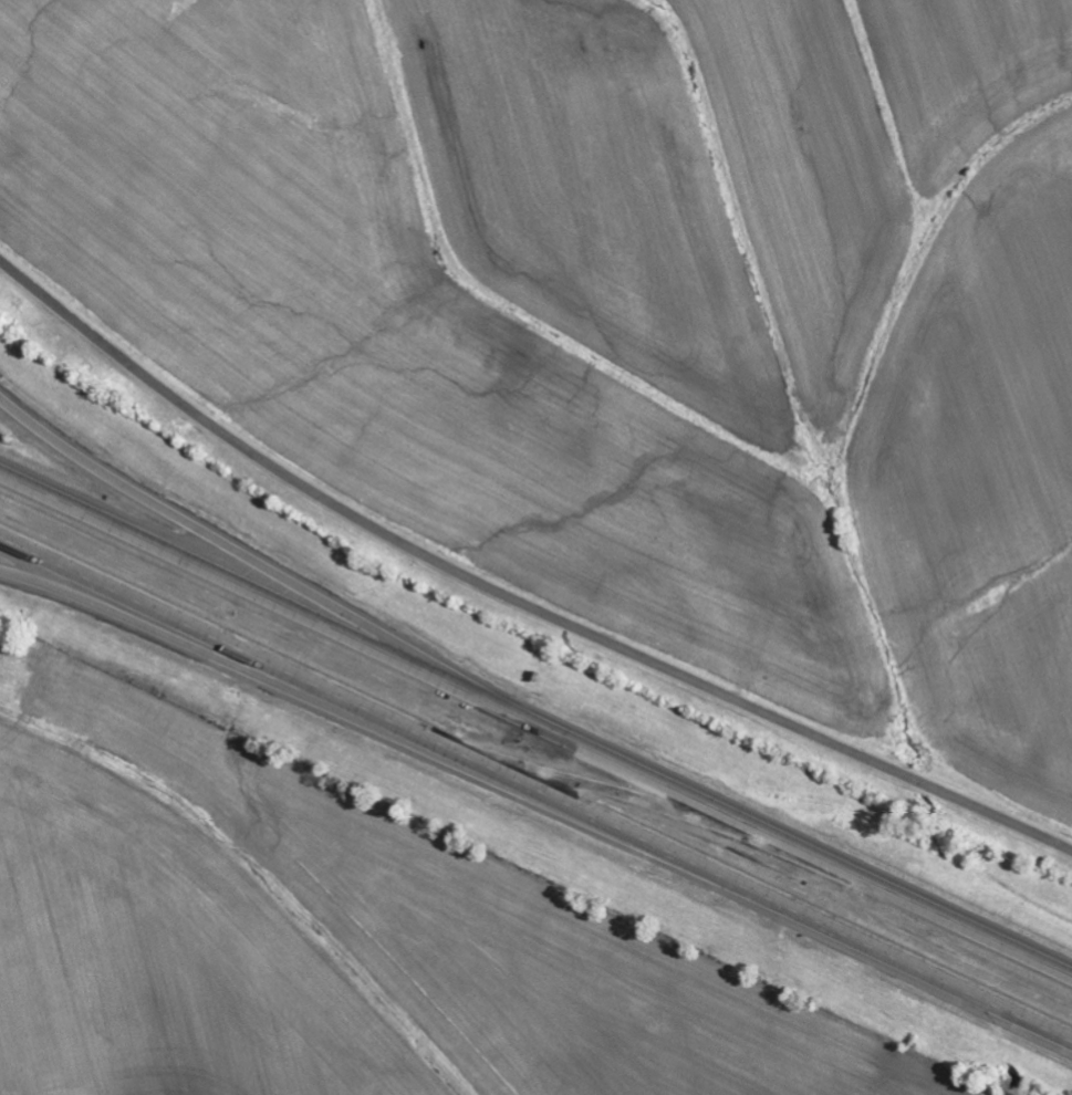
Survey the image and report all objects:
road: (228, 549)
road: (511, 599)
road: (241, 666)
road: (535, 726)
road: (535, 791)

